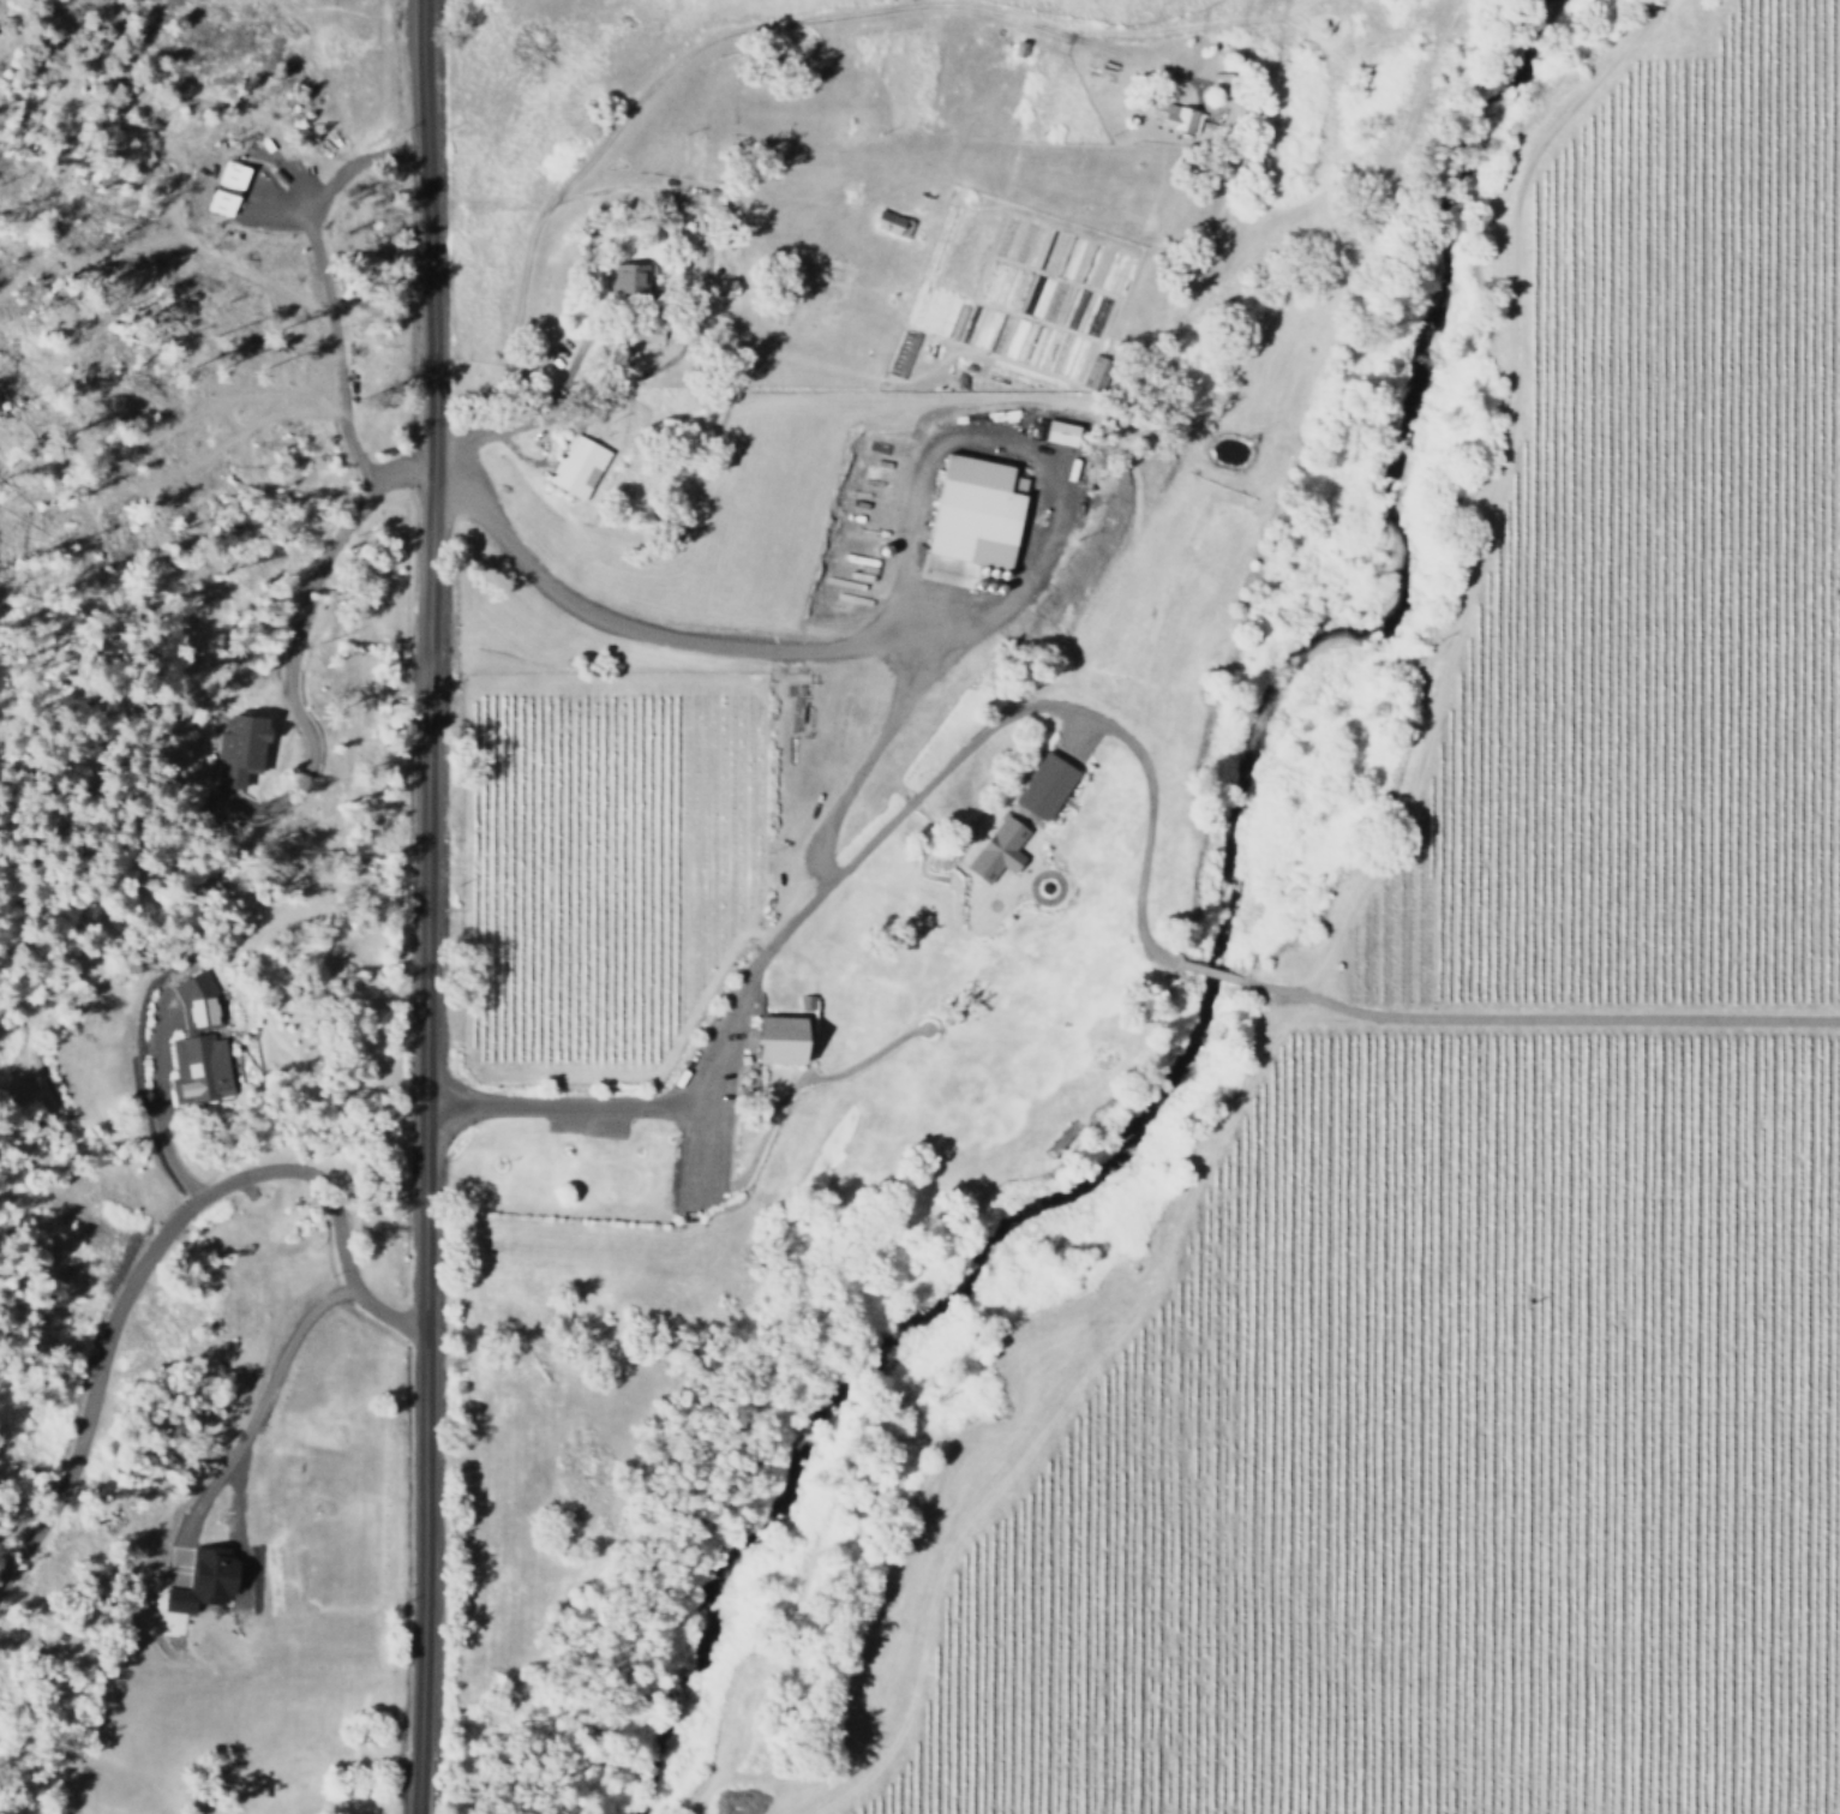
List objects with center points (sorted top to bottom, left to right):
road: (699, 46)
building: (1217, 83)
building: (1170, 116)
building: (223, 188)
building: (625, 279)
building: (1055, 432)
building: (573, 467)
road: (1490, 490)
building: (967, 513)
building: (240, 749)
building: (1042, 784)
road: (868, 842)
building: (994, 848)
road: (927, 874)
fountain: (1043, 886)
road: (421, 906)
road: (1217, 975)
road: (1536, 1019)
building: (778, 1040)
building: (194, 1043)
road: (798, 1078)
road: (306, 1092)
parking lot: (706, 1113)
road: (158, 1238)
road: (1065, 1399)
road: (236, 1445)
building: (199, 1582)

